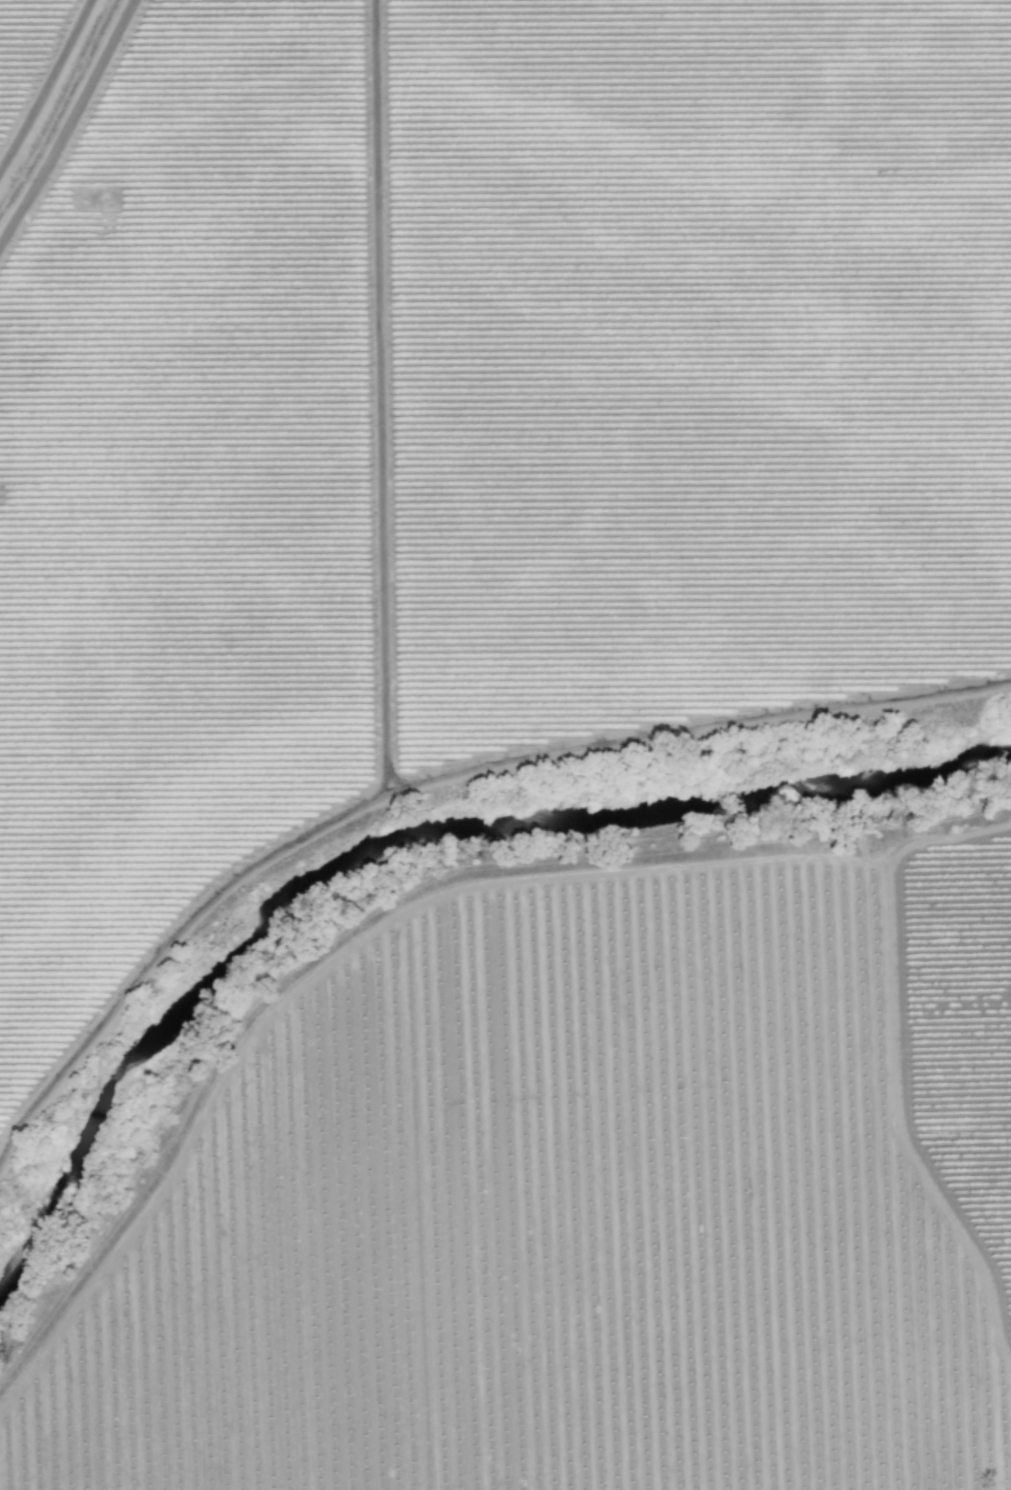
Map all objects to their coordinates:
crop: (491, 430)
crop: (955, 1041)

